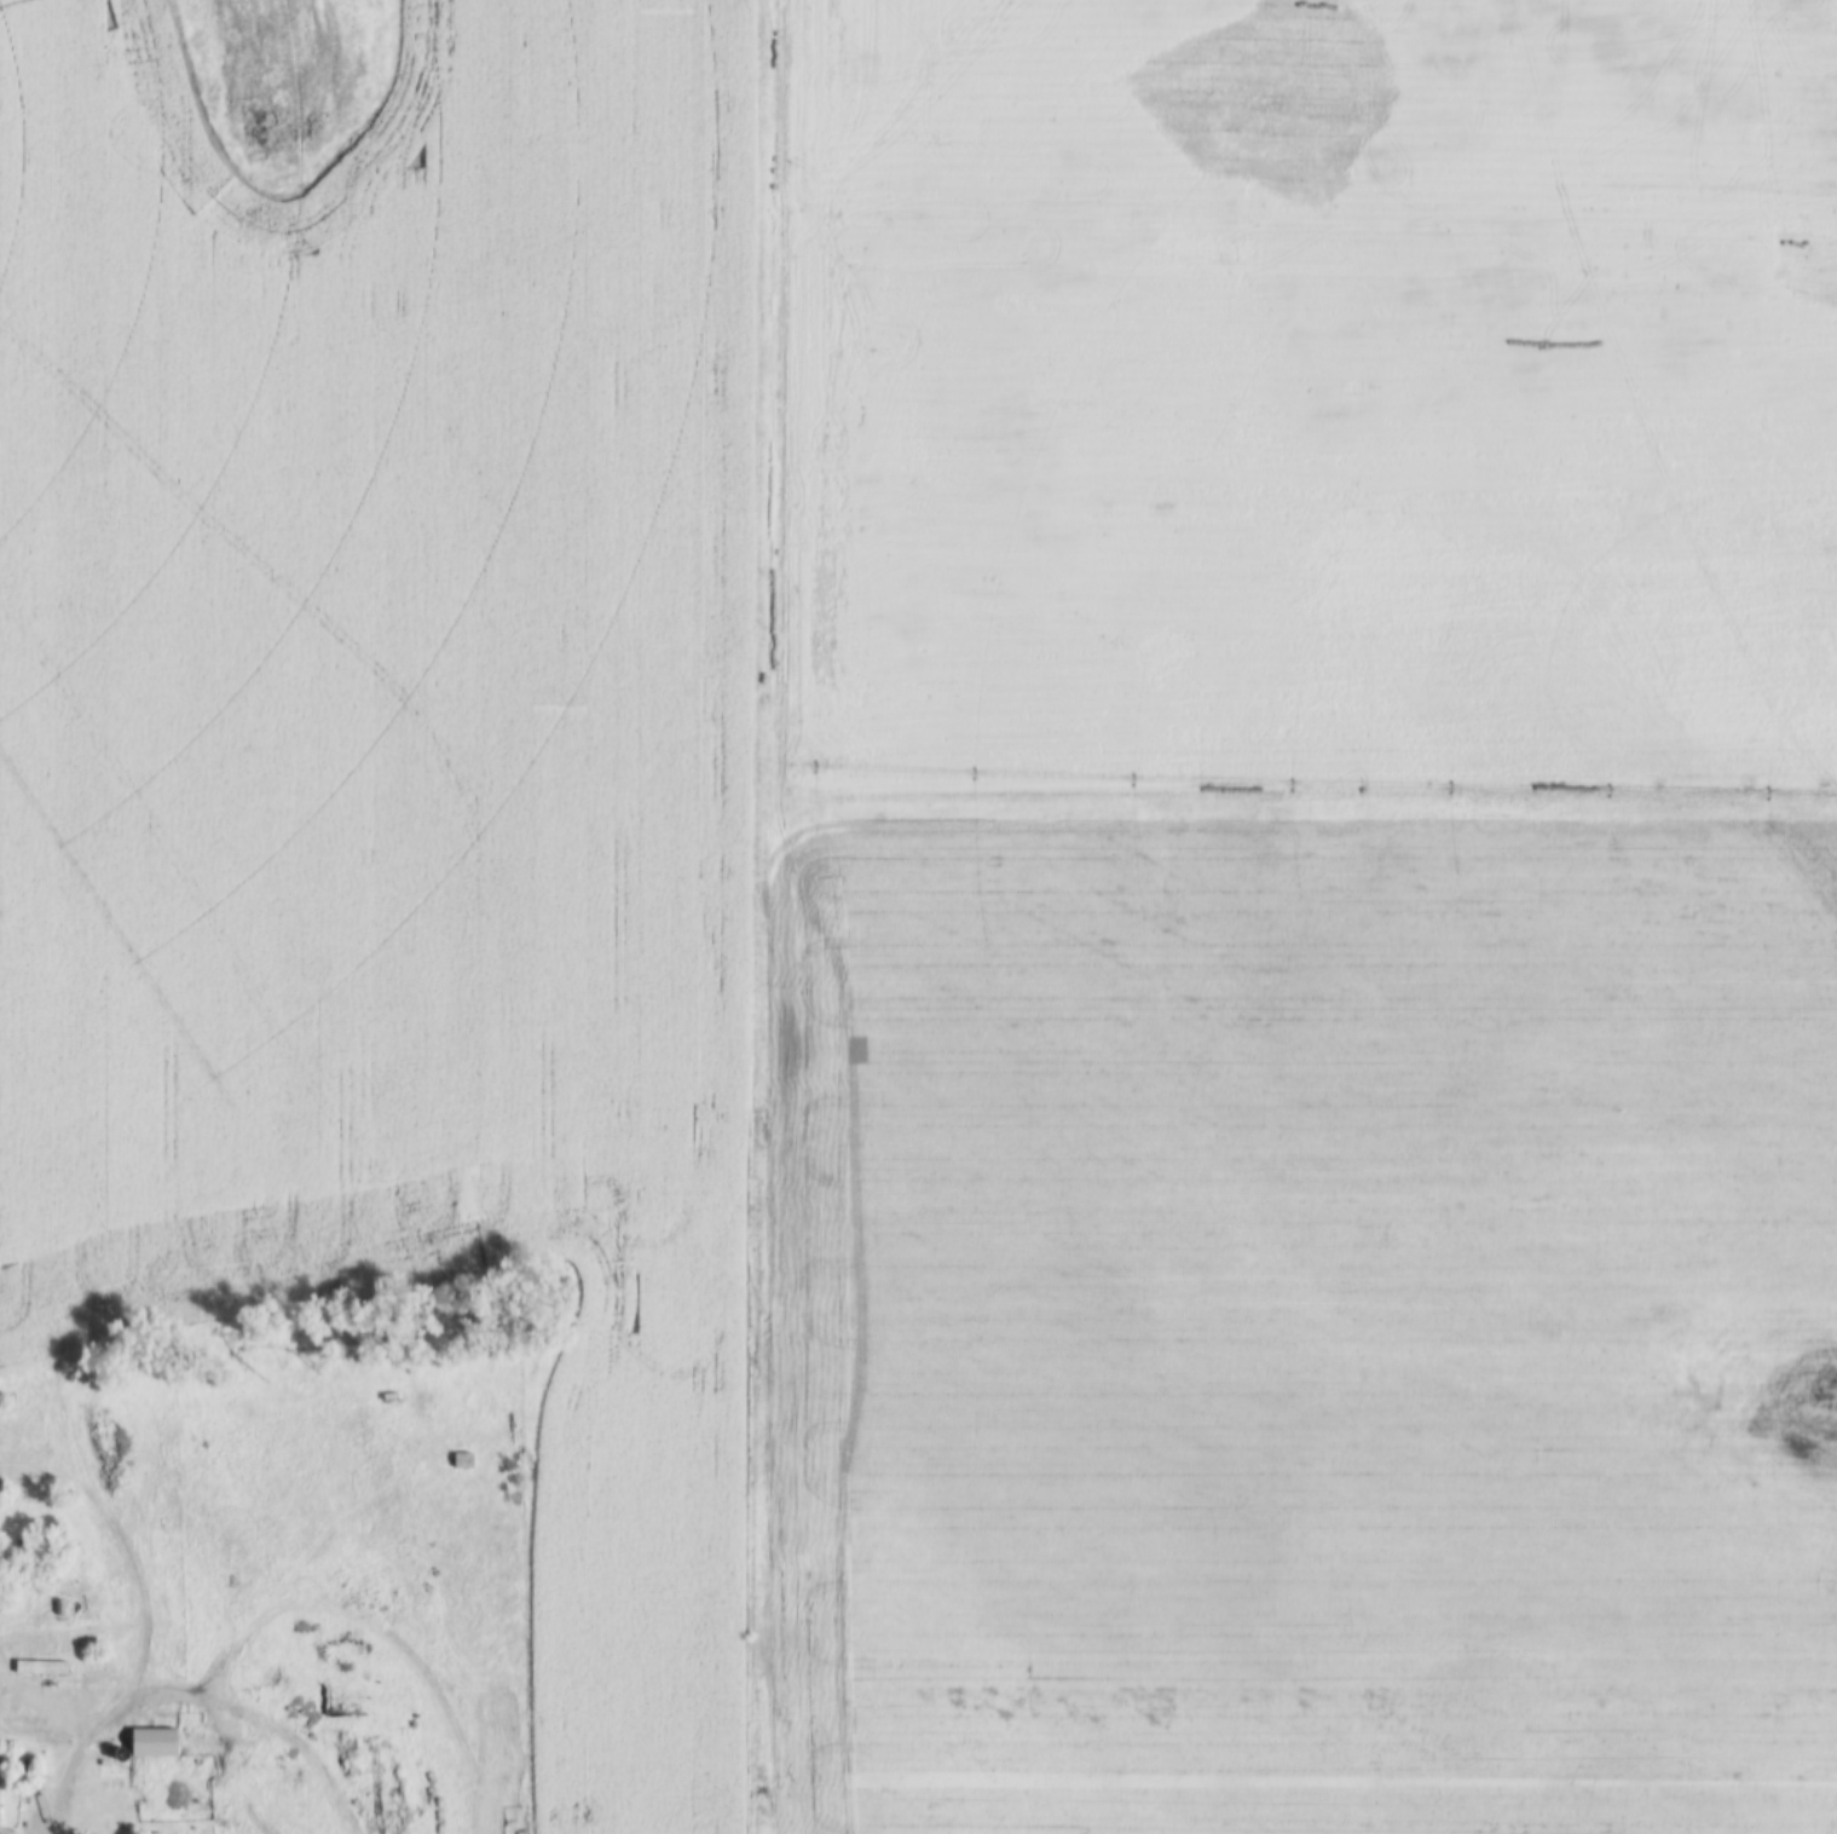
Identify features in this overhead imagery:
building: (461, 1461)
road: (123, 1548)
building: (36, 1669)
building: (149, 1730)
road: (75, 1766)

